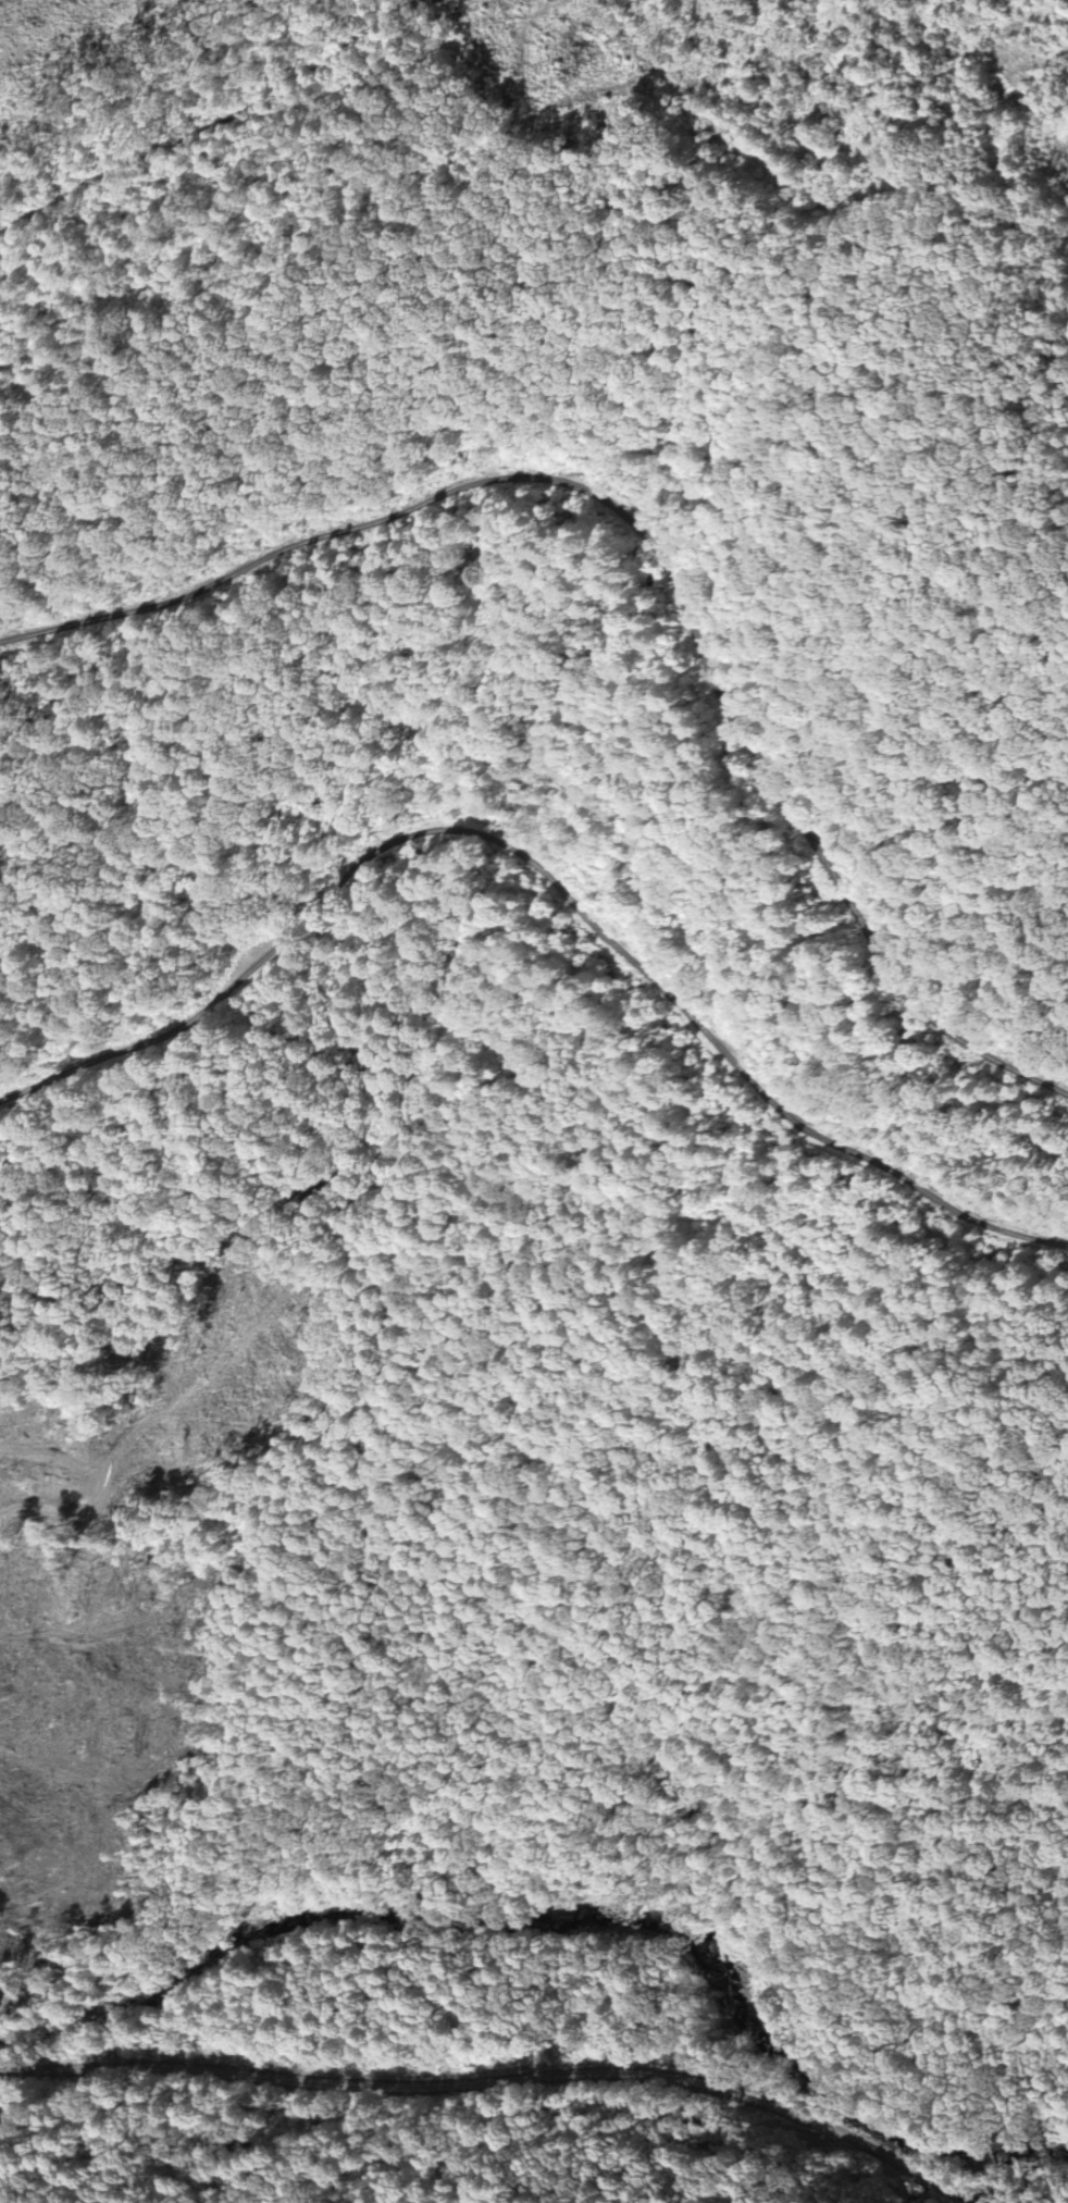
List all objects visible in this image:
road: (530, 2080)

